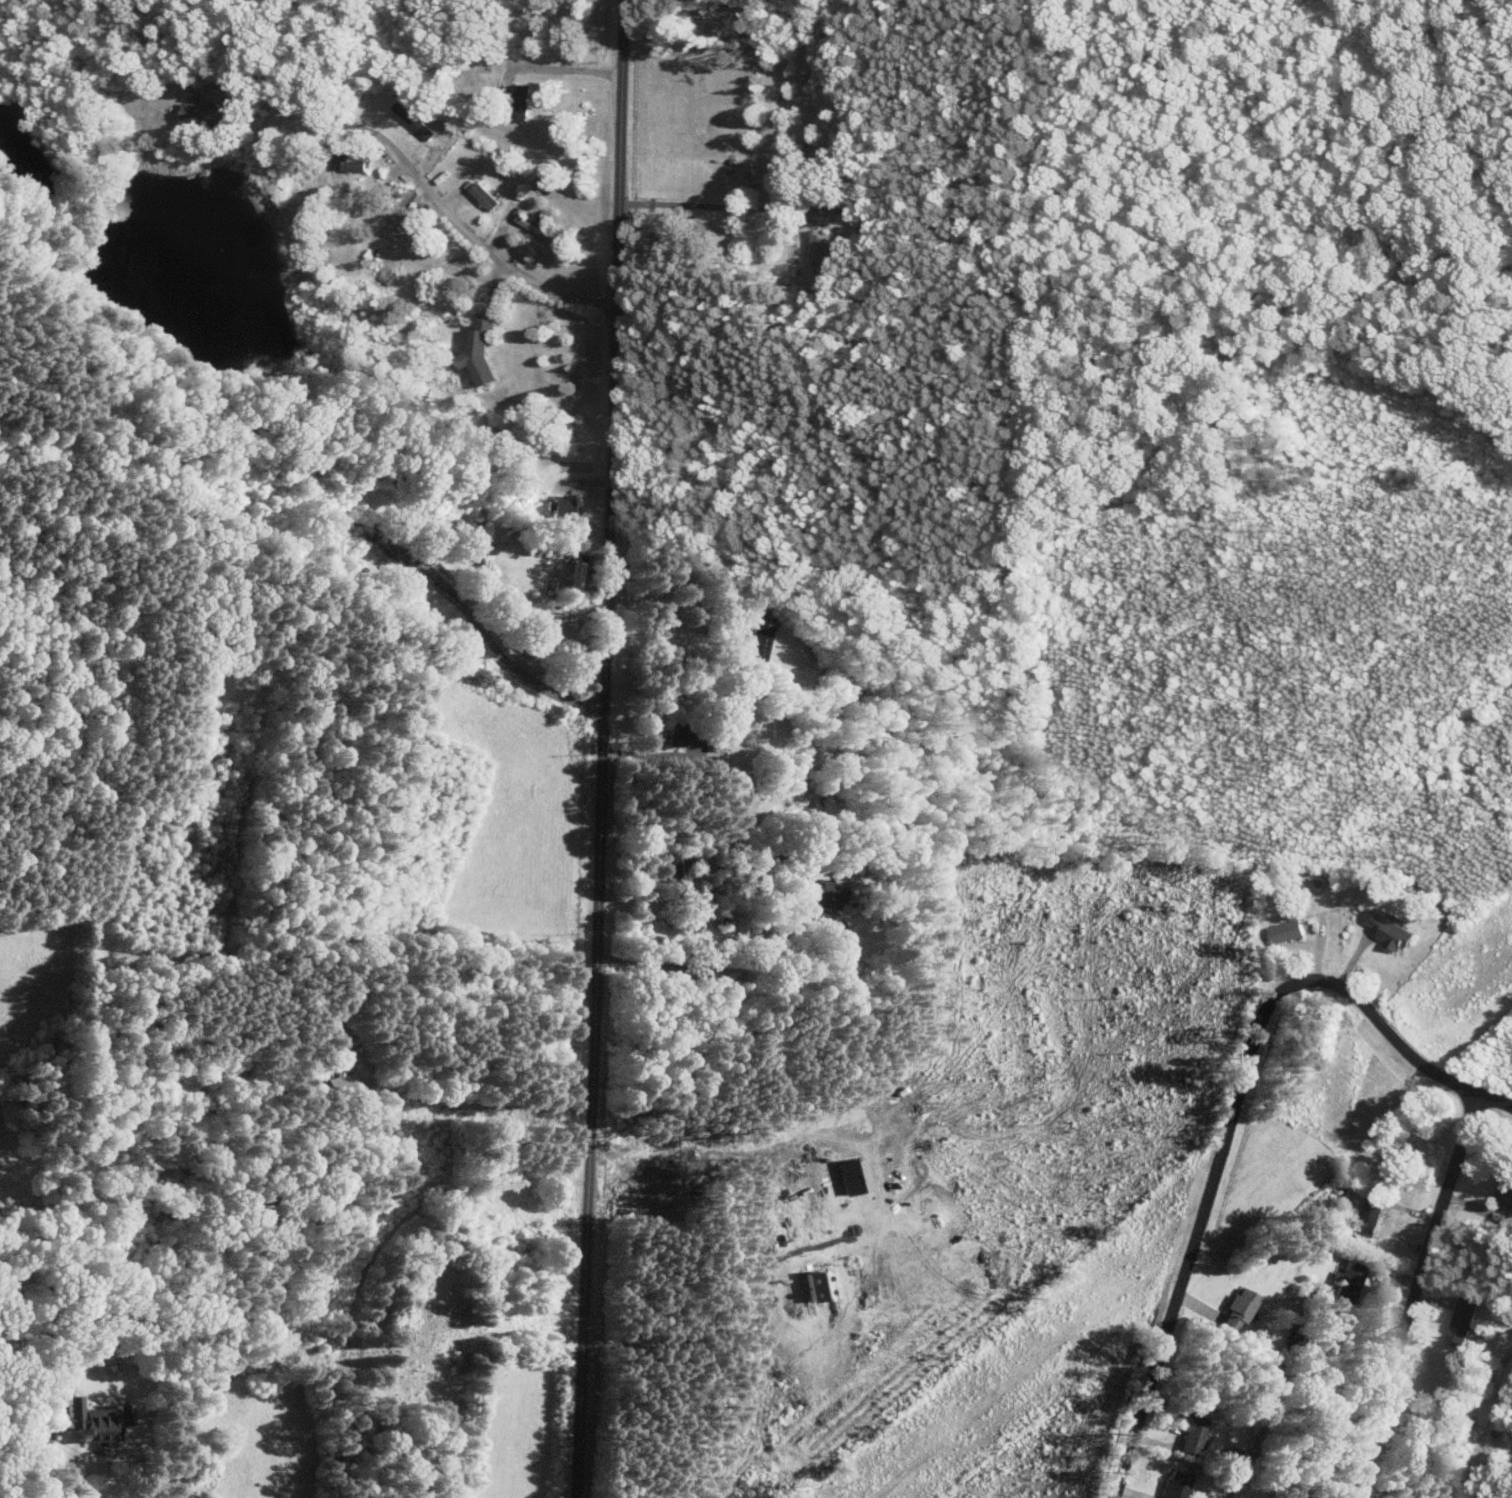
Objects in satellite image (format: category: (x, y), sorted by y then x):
building: (516, 102)
building: (198, 115)
building: (410, 120)
building: (349, 167)
road: (416, 176)
building: (480, 196)
road: (758, 208)
building: (477, 352)
building: (559, 505)
road: (672, 600)
road: (474, 627)
building: (757, 635)
building: (527, 640)
road: (598, 749)
building: (814, 896)
building: (1386, 930)
building: (1285, 931)
road: (708, 968)
road: (445, 984)
building: (341, 1081)
road: (1233, 1110)
building: (1503, 1191)
building: (1369, 1214)
building: (1347, 1282)
road: (1414, 1295)
building: (1234, 1310)
building: (1459, 1322)
building: (87, 1420)
building: (1189, 1433)
building: (1173, 1485)
road: (3, 1486)

